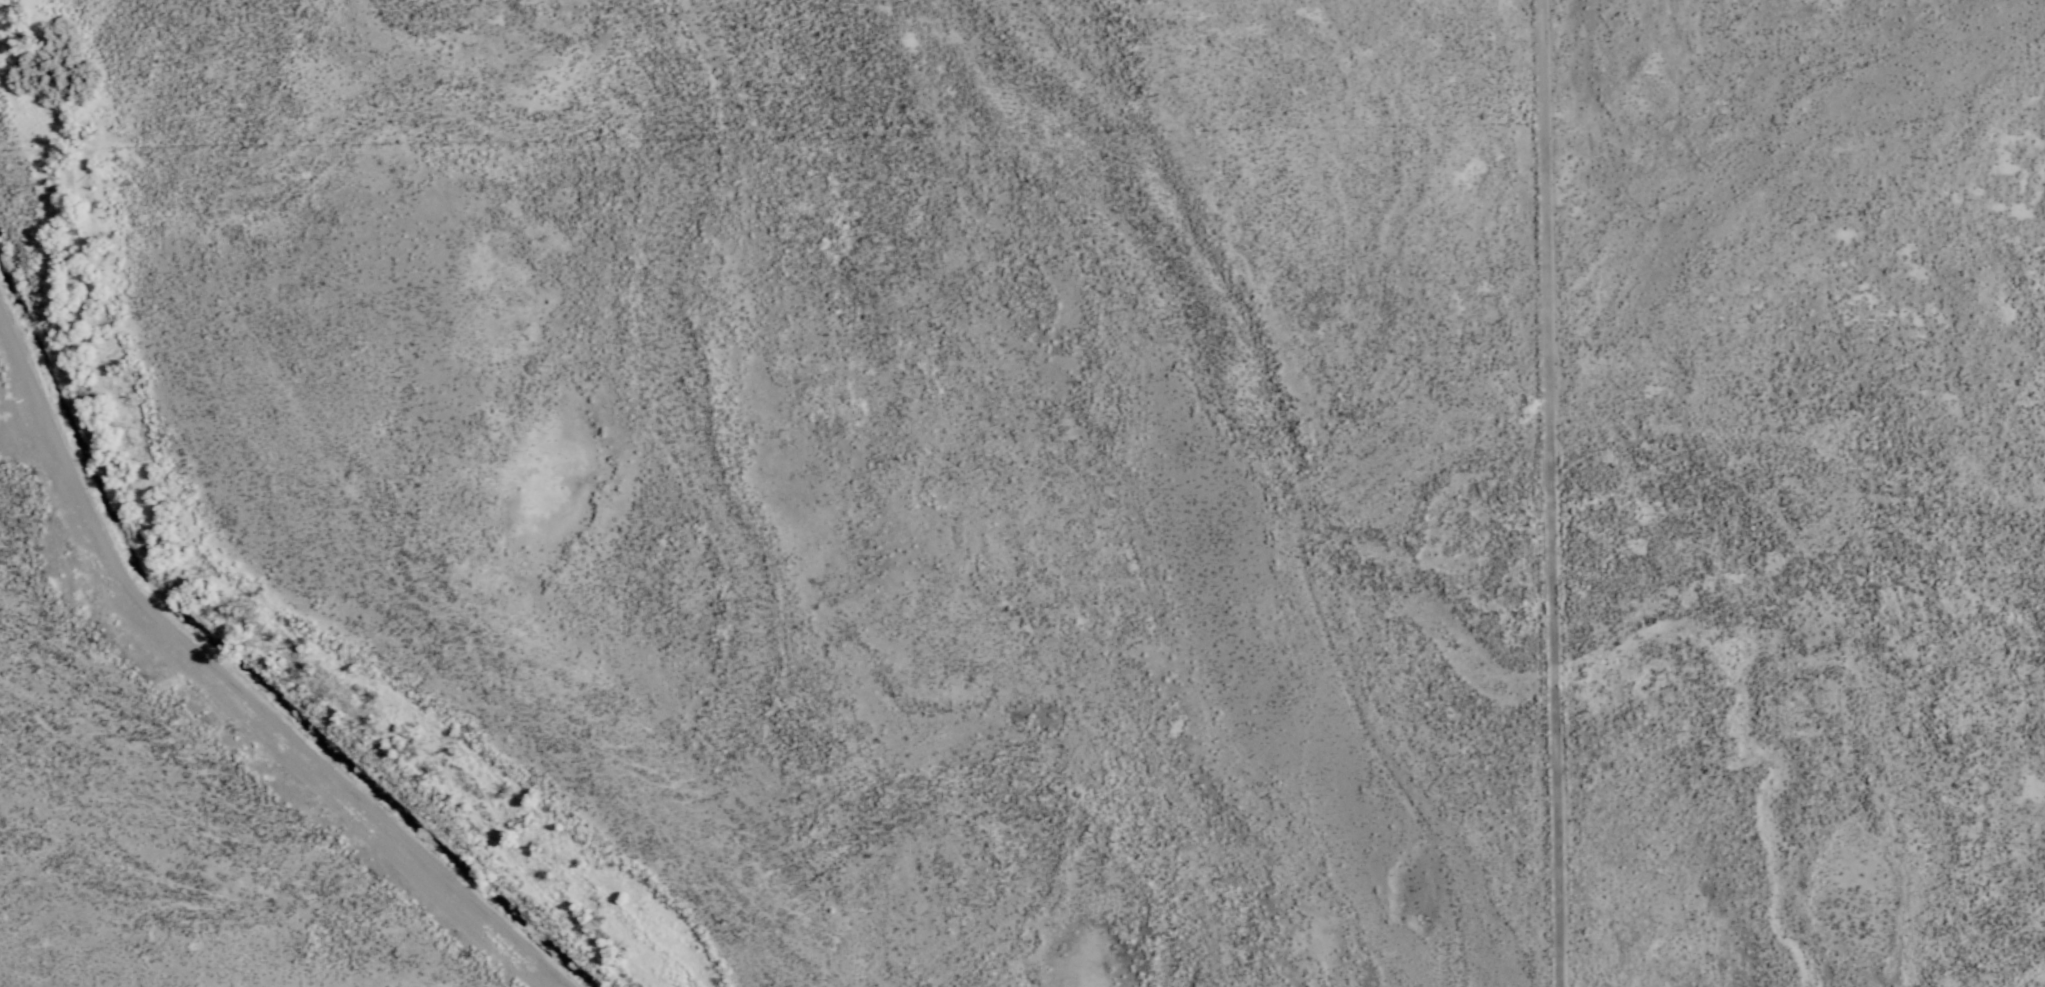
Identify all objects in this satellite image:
road: (1553, 493)
road: (228, 703)

